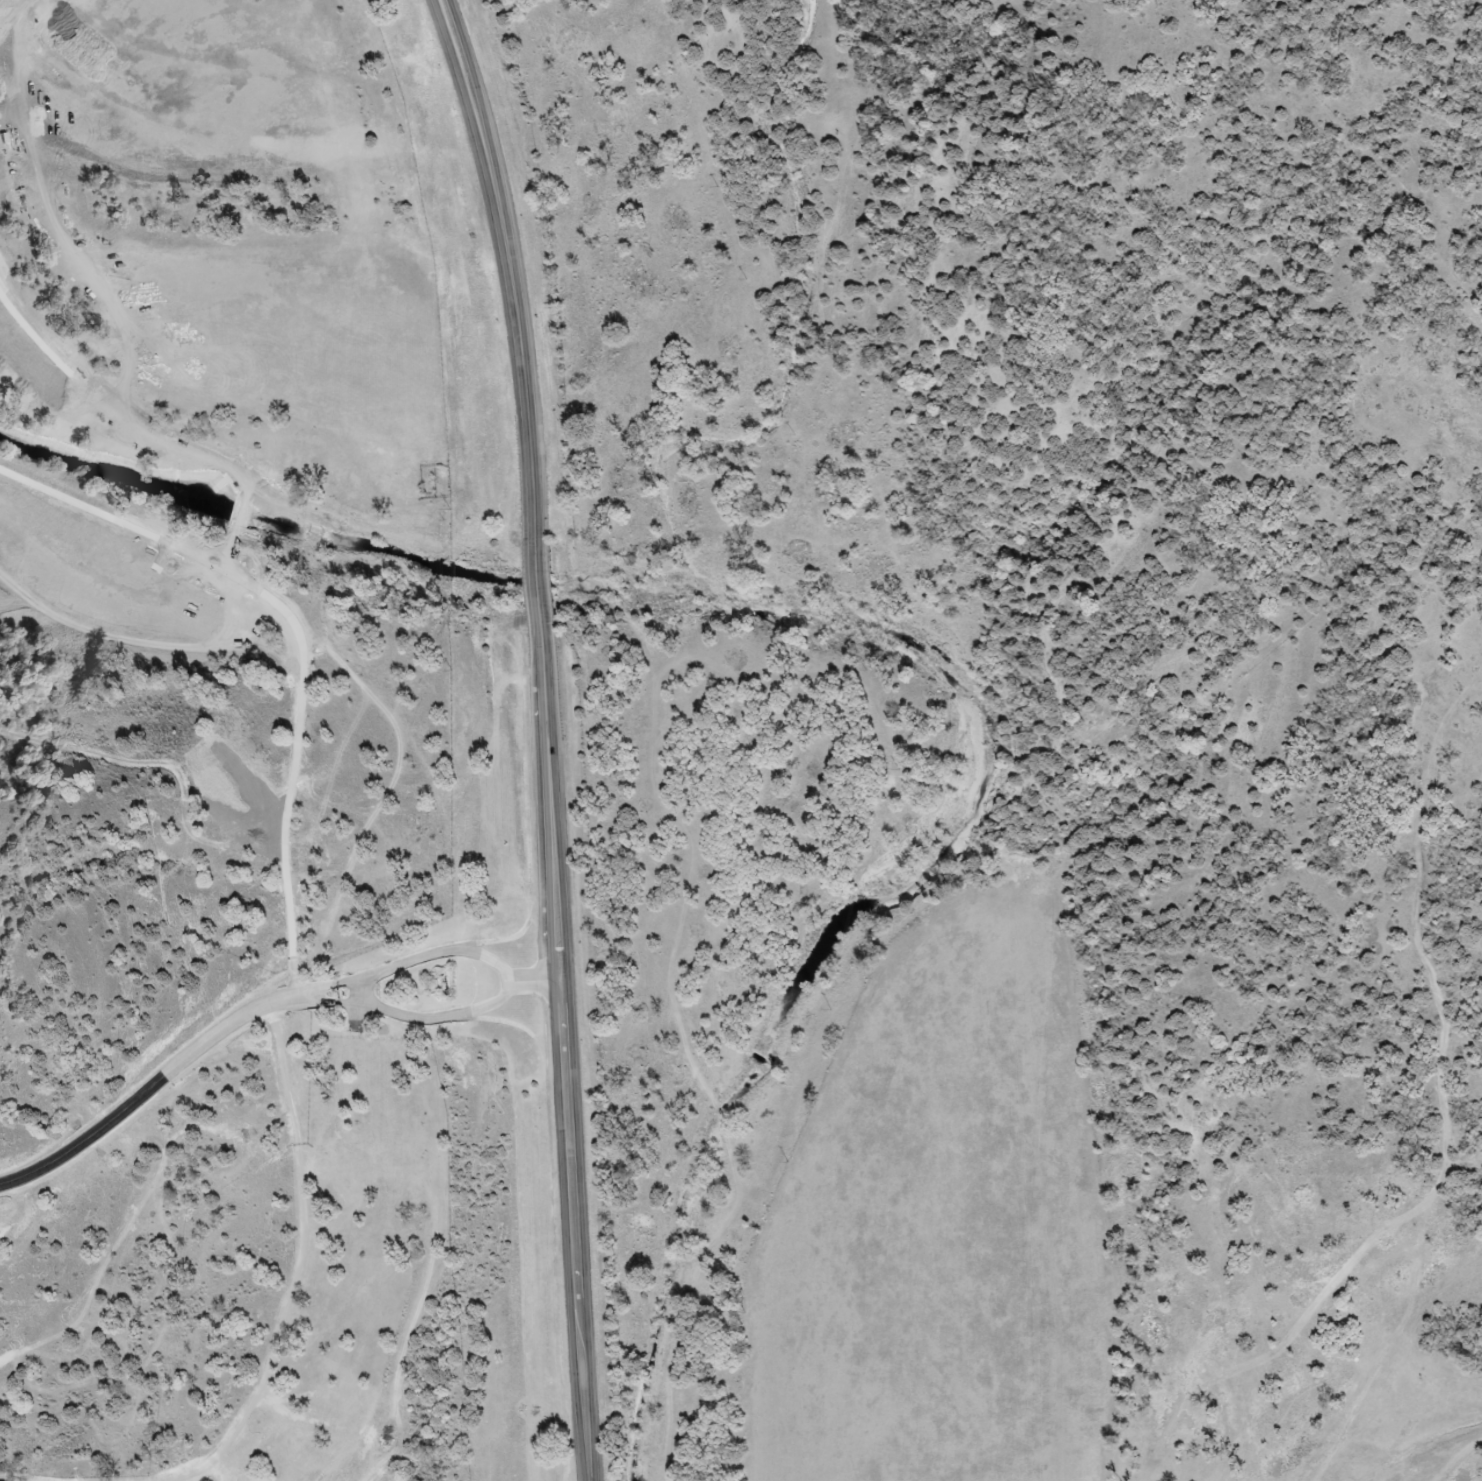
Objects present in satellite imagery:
road: (552, 735)
road: (541, 981)
road: (366, 993)
road: (304, 997)
road: (151, 1089)
road: (302, 1268)

